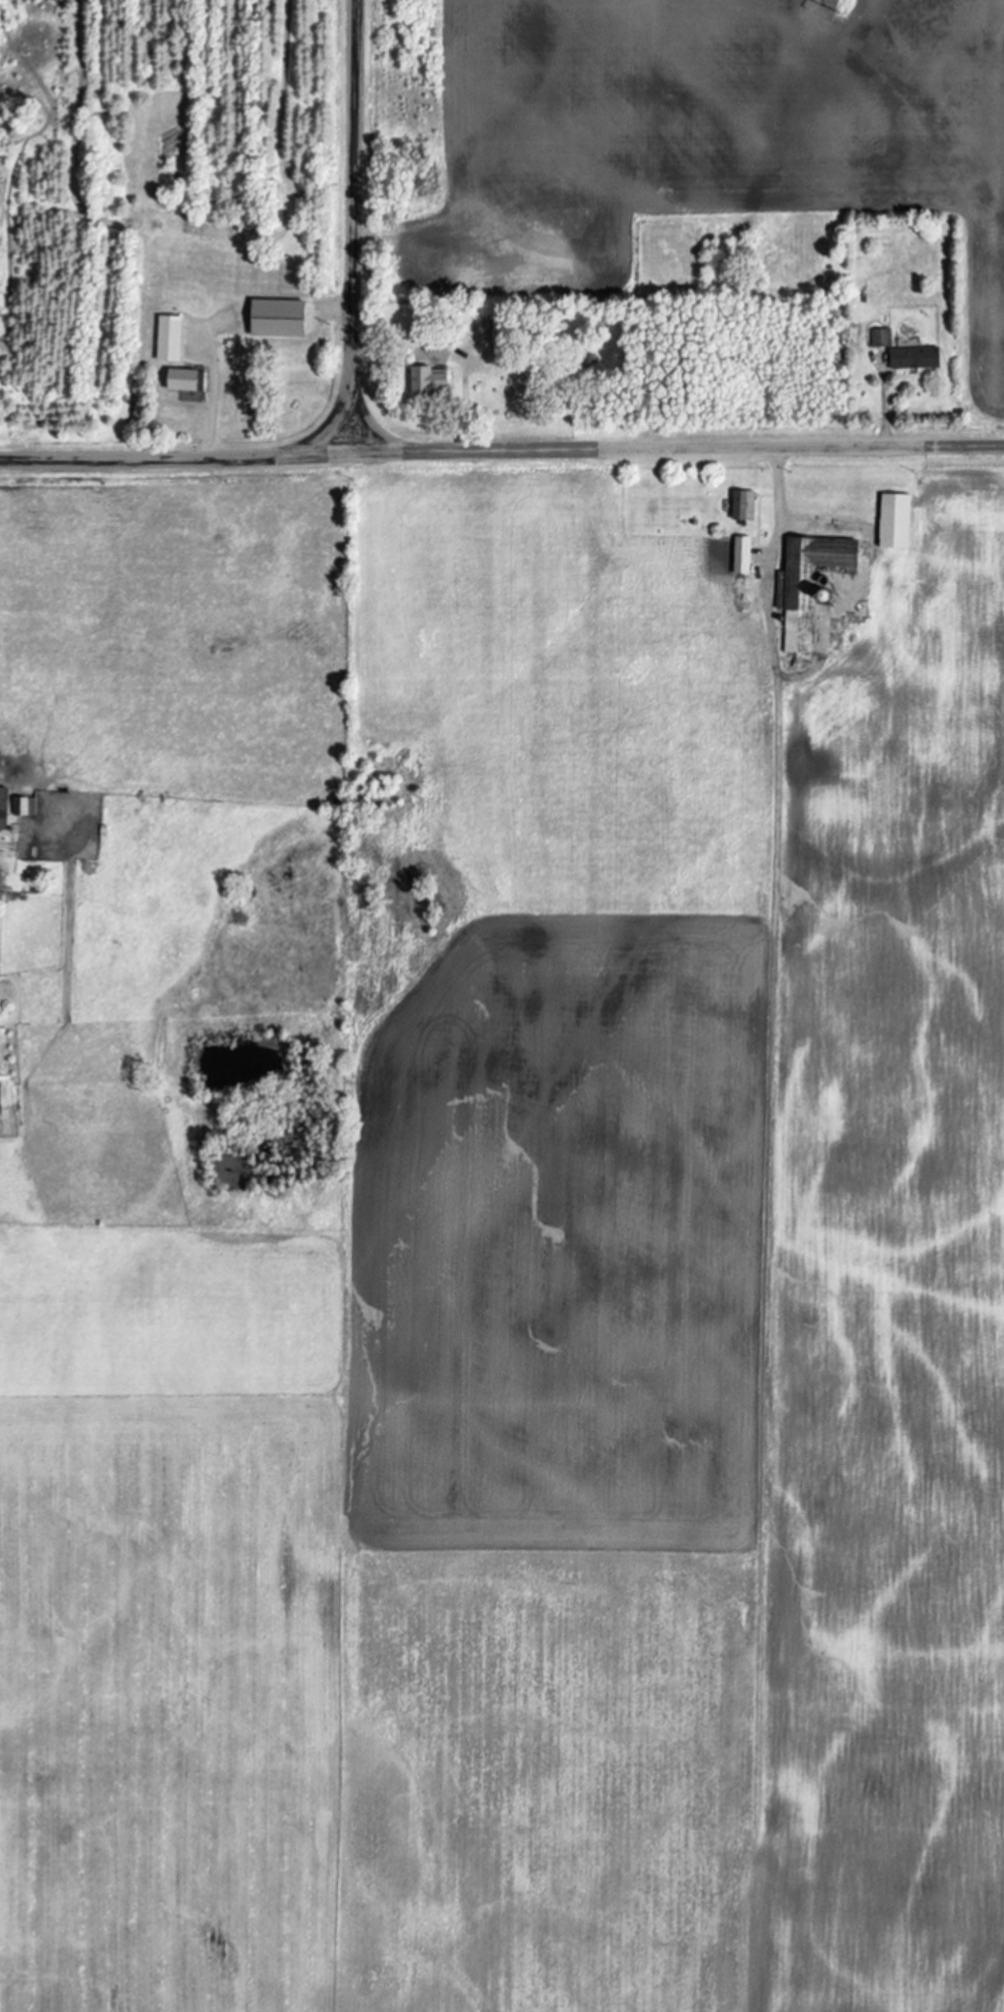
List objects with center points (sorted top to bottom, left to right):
power tower: (846, 5)
road: (353, 225)
road: (310, 303)
building: (274, 318)
building: (880, 337)
building: (167, 338)
building: (437, 348)
building: (913, 358)
building: (424, 379)
building: (183, 380)
road: (213, 413)
road: (887, 414)
road: (501, 448)
building: (742, 505)
building: (893, 521)
building: (740, 555)
road: (771, 561)
building: (807, 585)
building: (23, 806)
building: (2, 807)

